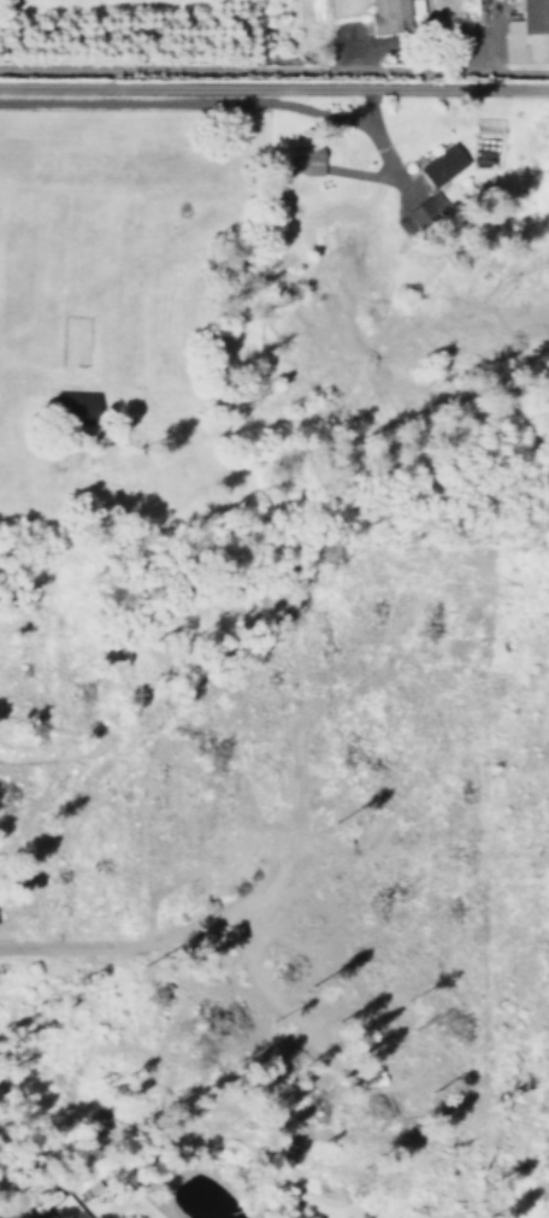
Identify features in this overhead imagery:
building: (394, 14)
building: (526, 28)
road: (274, 58)
building: (314, 160)
building: (445, 164)
building: (424, 216)
building: (78, 405)
building: (67, 1208)
building: (95, 1217)

